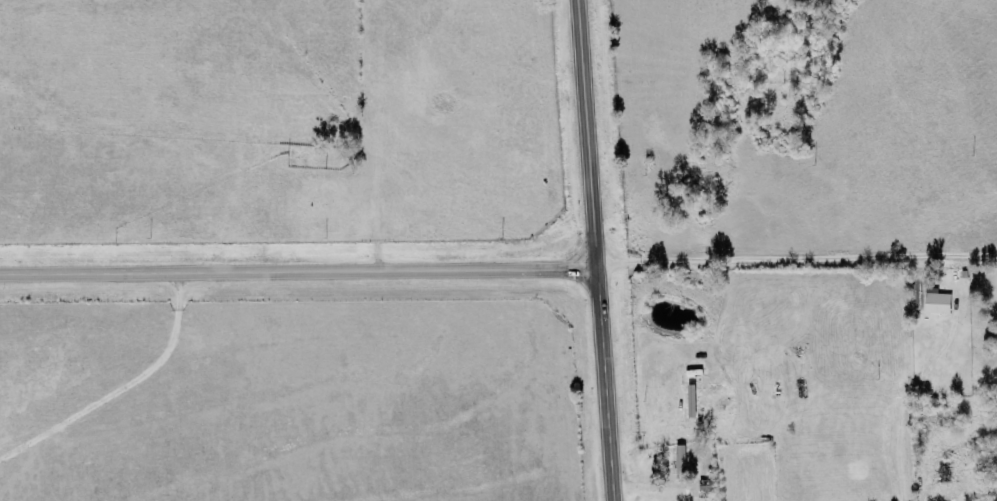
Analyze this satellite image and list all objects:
road: (593, 250)
road: (297, 271)
building: (937, 302)
building: (943, 470)

